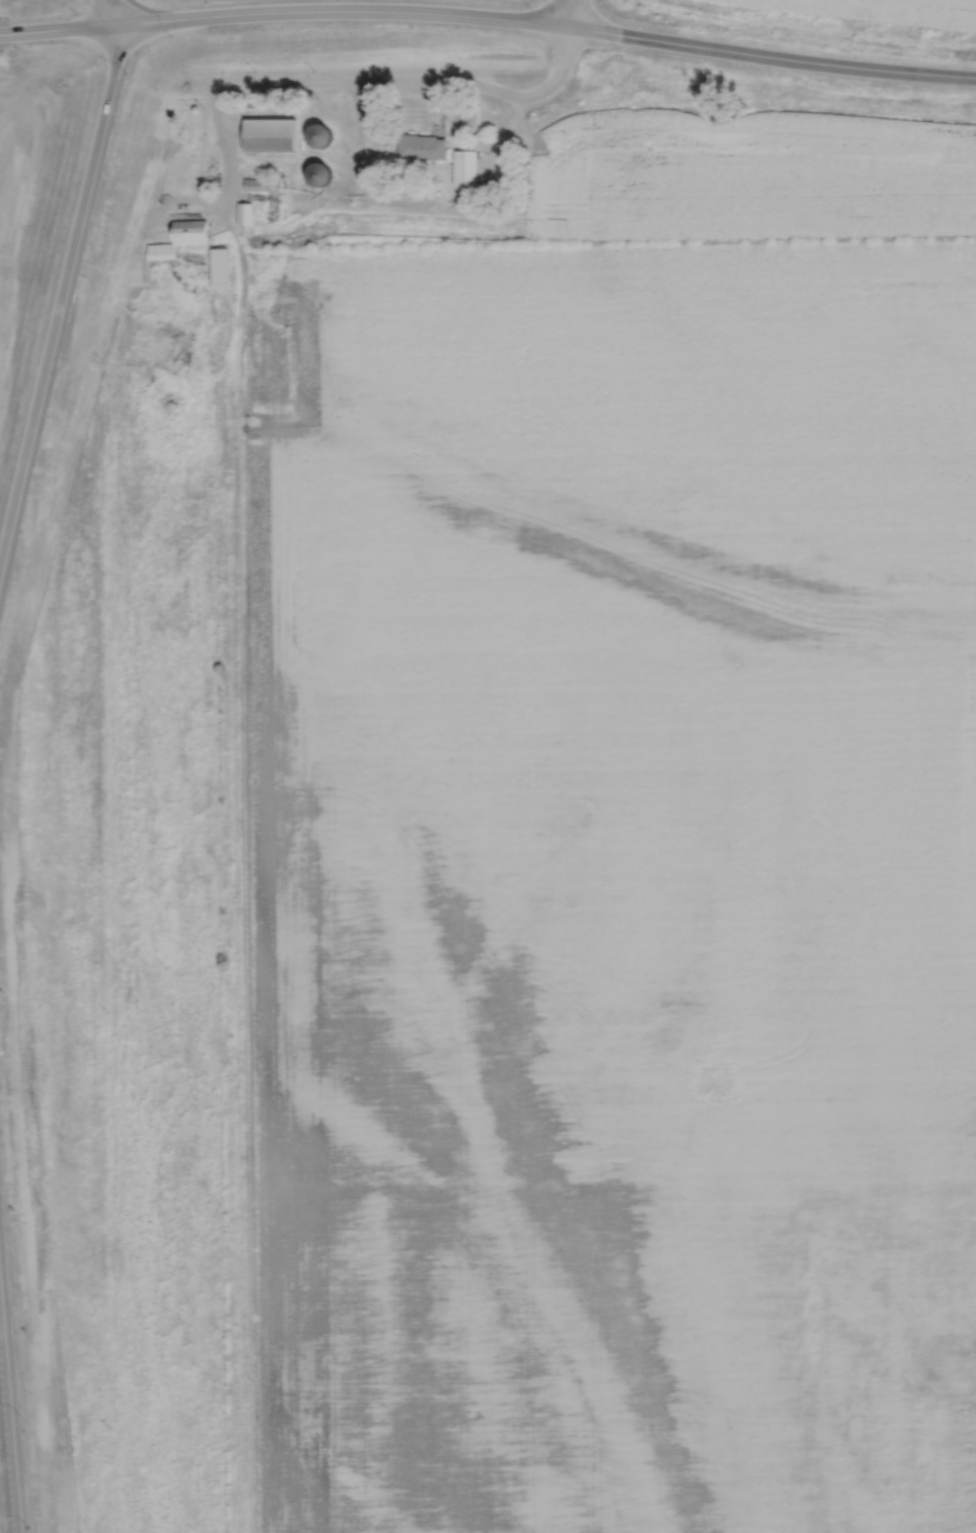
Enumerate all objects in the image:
crop: (873, 11)
road: (570, 13)
road: (489, 16)
road: (340, 81)
building: (270, 135)
building: (319, 135)
building: (422, 147)
building: (466, 168)
building: (319, 174)
building: (262, 184)
building: (245, 214)
building: (192, 232)
building: (162, 251)
building: (224, 267)
road: (64, 278)
crop: (614, 884)
road: (7, 1501)
road: (2, 1505)

